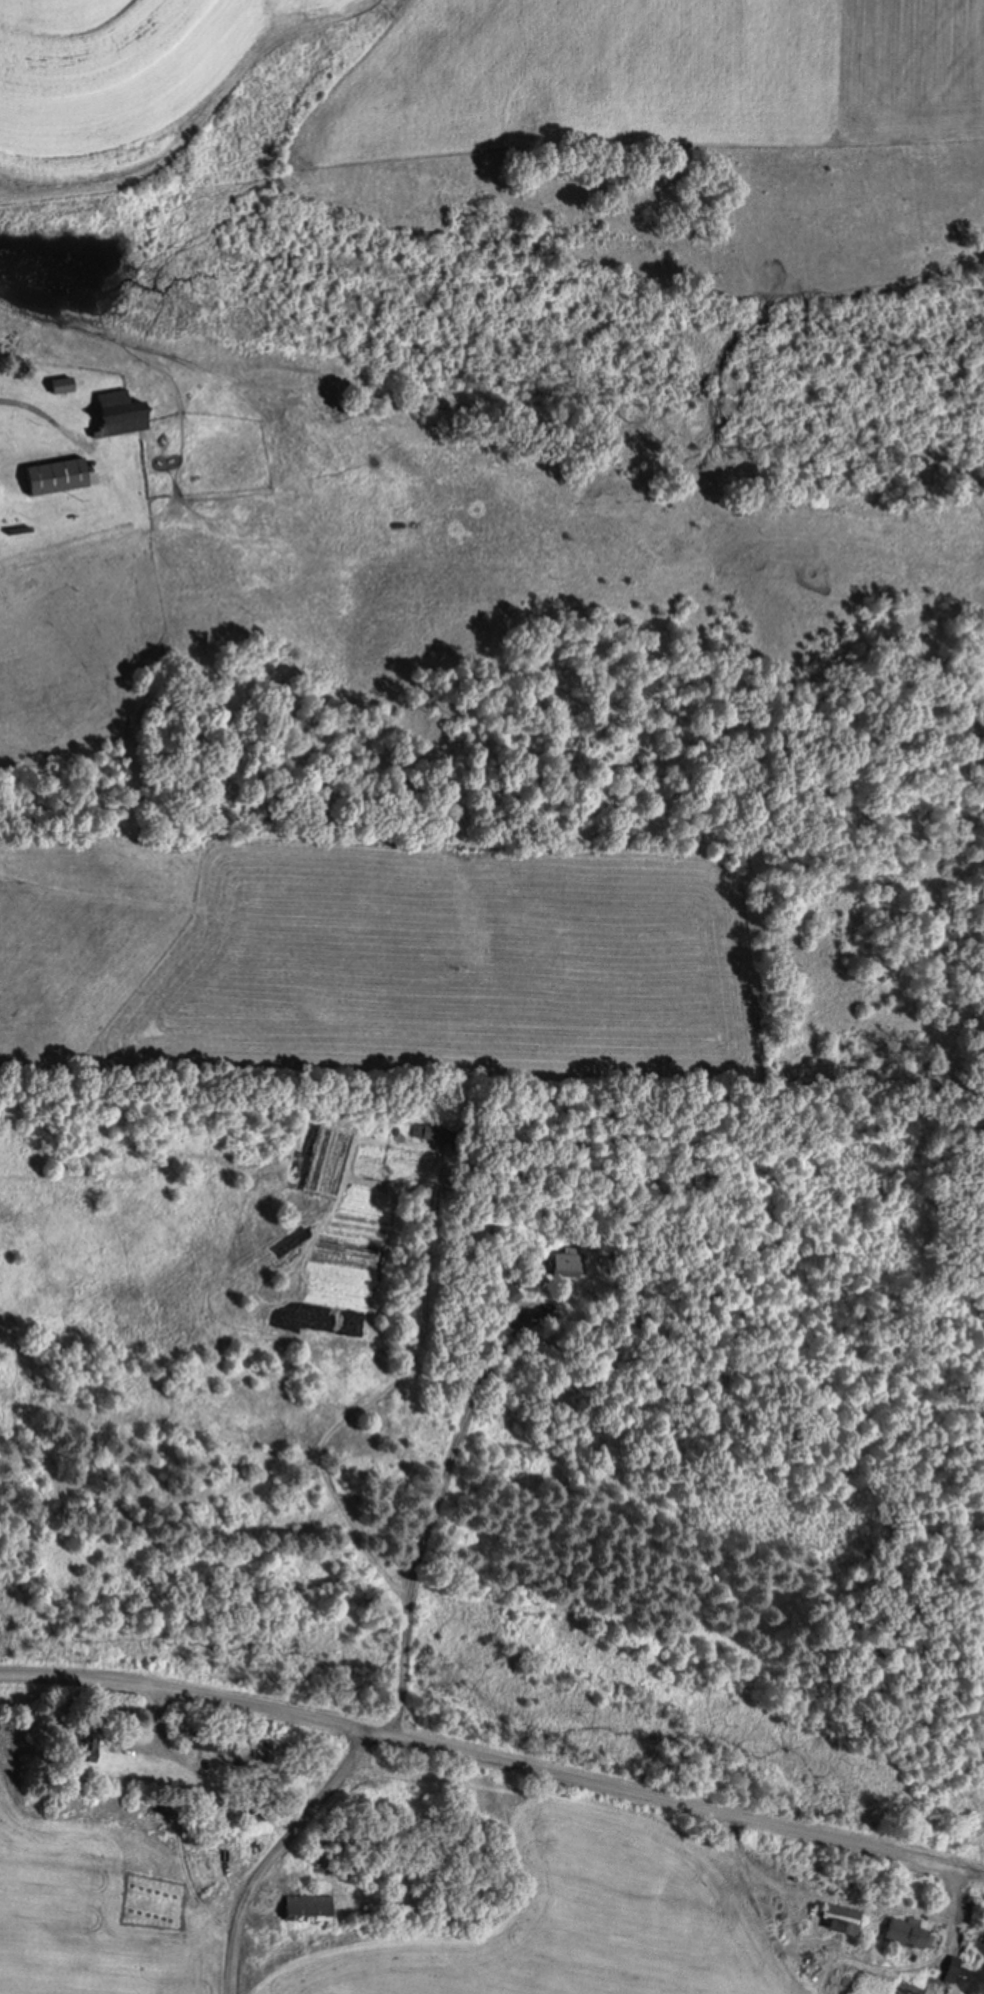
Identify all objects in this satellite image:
building: (60, 385)
road: (30, 402)
building: (119, 412)
building: (56, 475)
building: (430, 1131)
building: (567, 1261)
building: (509, 1295)
road: (425, 1541)
building: (203, 1738)
building: (81, 1747)
road: (493, 1755)
building: (259, 1814)
road: (271, 1849)
building: (306, 1907)
building: (839, 1919)
building: (905, 1931)

